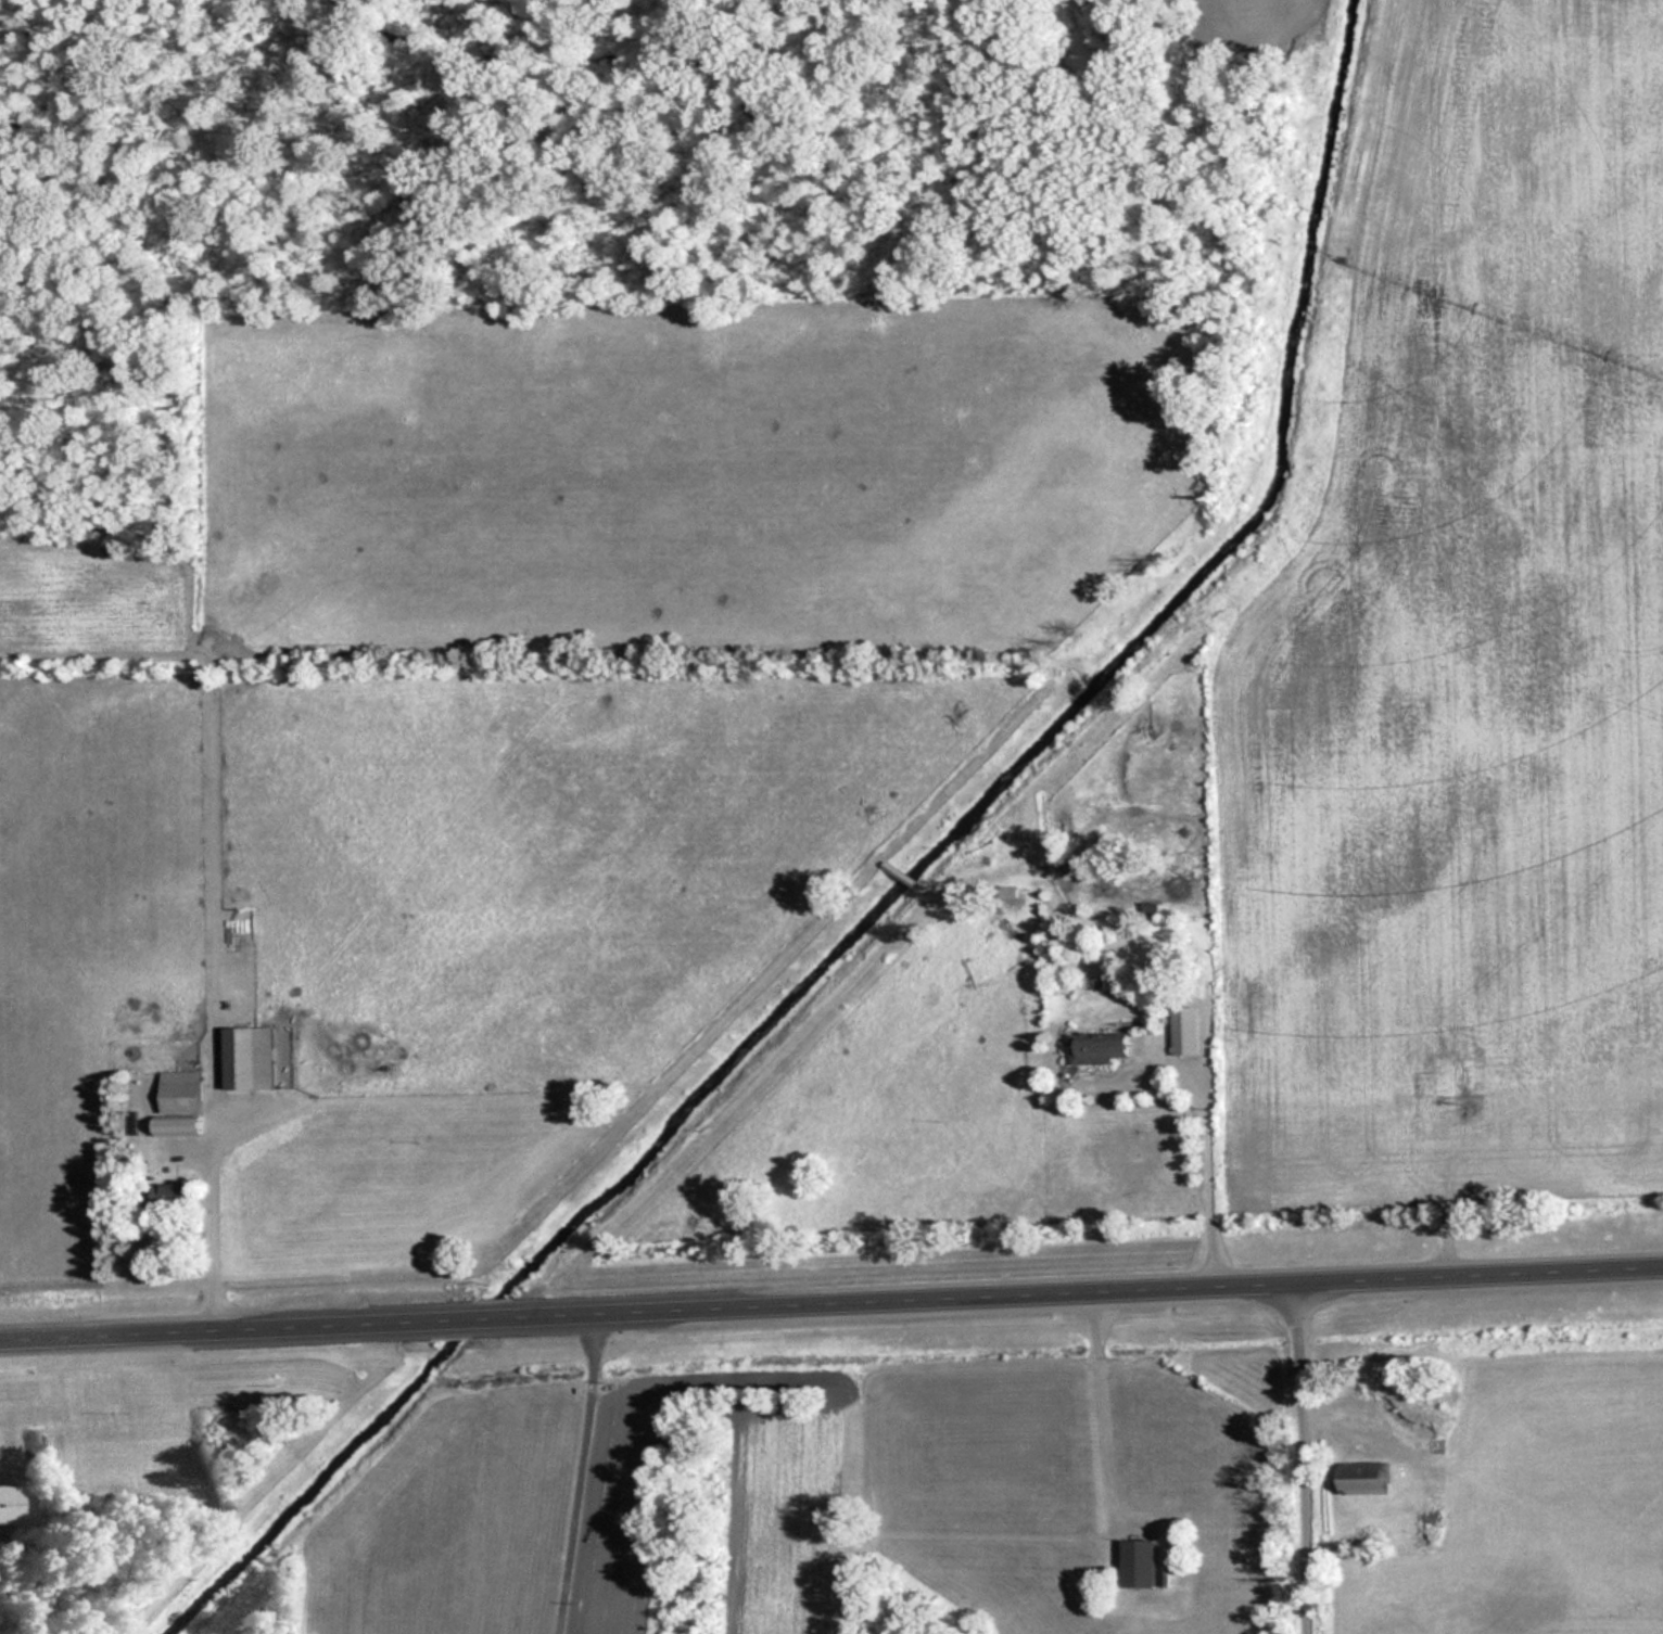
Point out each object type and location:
building: (1151, 908)
building: (1185, 1031)
building: (1101, 1049)
building: (251, 1057)
building: (182, 1092)
building: (181, 1125)
road: (211, 1195)
road: (830, 1304)
road: (1302, 1458)
road: (579, 1475)
building: (1368, 1478)
building: (1140, 1562)

